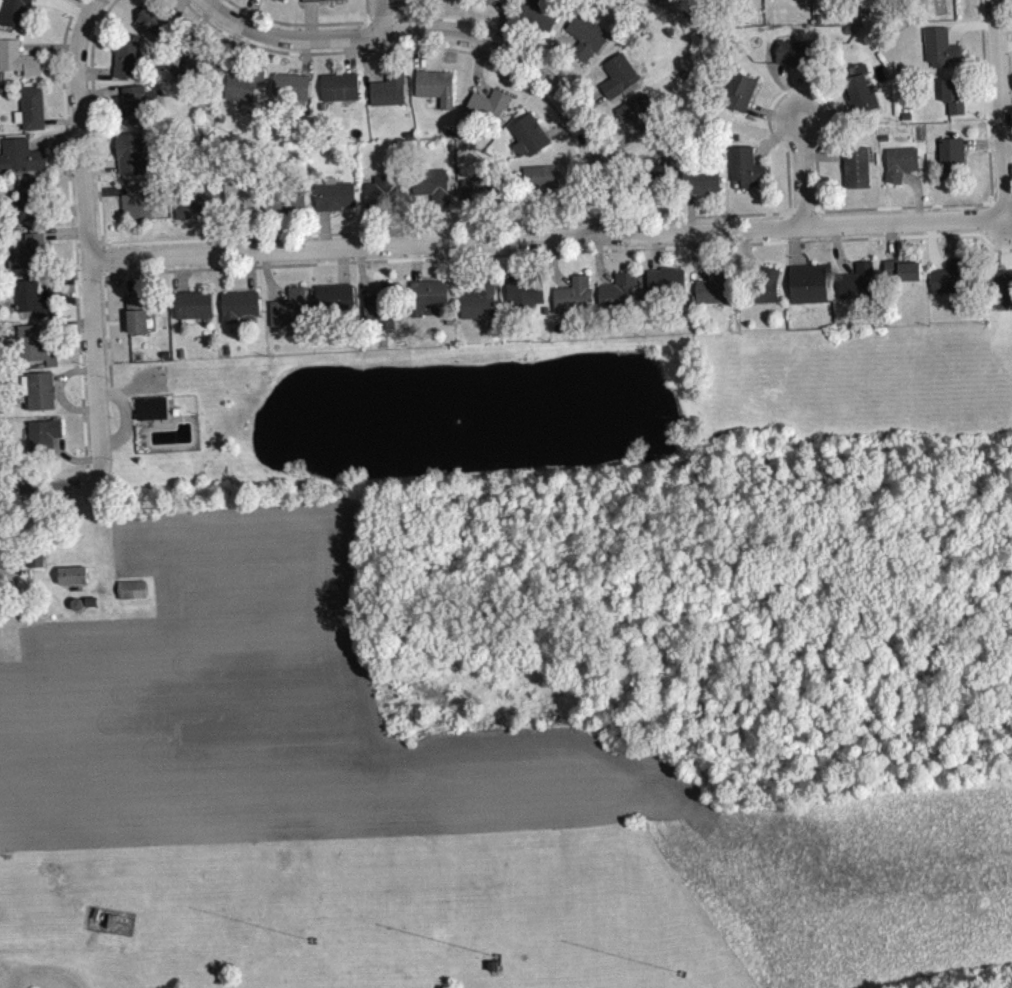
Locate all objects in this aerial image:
building: (877, 0)
building: (447, 1)
building: (929, 1)
building: (277, 2)
building: (501, 3)
building: (324, 4)
building: (16, 15)
road: (384, 18)
building: (540, 20)
building: (156, 30)
building: (586, 44)
road: (465, 48)
building: (941, 56)
building: (794, 60)
building: (19, 66)
building: (129, 66)
building: (203, 75)
building: (619, 84)
building: (294, 93)
building: (342, 94)
building: (438, 94)
building: (242, 96)
building: (861, 96)
building: (391, 99)
building: (741, 99)
building: (954, 102)
road: (1004, 109)
building: (137, 111)
building: (491, 112)
building: (34, 116)
building: (634, 116)
building: (531, 142)
building: (134, 160)
building: (952, 162)
building: (22, 163)
building: (903, 170)
building: (747, 174)
building: (857, 174)
road: (803, 177)
building: (660, 178)
building: (703, 189)
building: (433, 192)
building: (474, 196)
building: (382, 198)
building: (336, 202)
building: (30, 208)
building: (194, 208)
building: (138, 213)
road: (90, 239)
road: (552, 244)
building: (31, 260)
building: (903, 278)
building: (952, 284)
building: (666, 287)
building: (858, 289)
building: (809, 291)
building: (768, 292)
building: (1003, 295)
building: (712, 296)
building: (620, 298)
building: (526, 299)
building: (431, 301)
building: (574, 302)
building: (338, 305)
building: (34, 306)
building: (480, 308)
building: (195, 312)
building: (240, 312)
building: (291, 316)
building: (379, 319)
building: (138, 322)
building: (42, 398)
building: (153, 415)
building: (46, 442)
road: (51, 486)
road: (3, 575)
building: (74, 582)
building: (133, 597)

